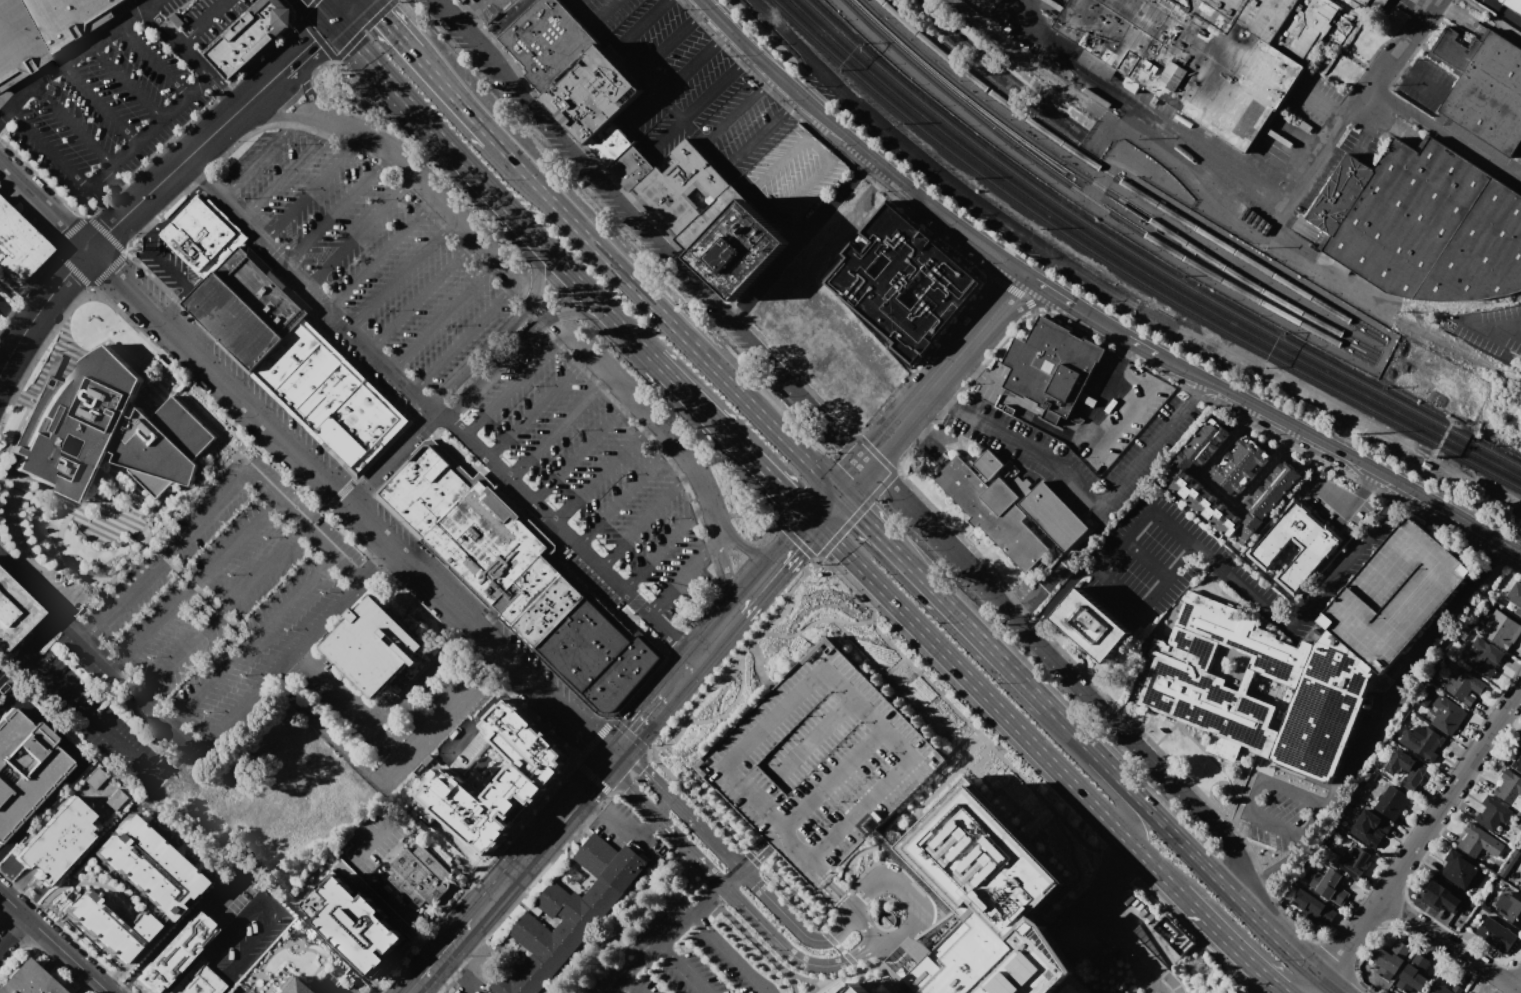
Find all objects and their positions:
building: (462, 0)
building: (1363, 2)
road: (1431, 2)
road: (153, 3)
building: (1513, 4)
road: (474, 5)
road: (325, 10)
road: (346, 11)
road: (699, 12)
road: (461, 17)
road: (507, 17)
traffic signals: (381, 18)
road: (595, 19)
road: (640, 21)
road: (203, 22)
road: (388, 26)
building: (44, 30)
road: (721, 34)
building: (248, 36)
road: (483, 41)
building: (546, 41)
traffic signals: (313, 42)
road: (666, 43)
road: (306, 48)
road: (1401, 49)
building: (1203, 53)
road: (75, 54)
road: (190, 56)
road: (744, 58)
road: (155, 59)
road: (1064, 59)
road: (335, 61)
road: (1401, 62)
road: (688, 66)
road: (639, 68)
road: (1426, 79)
road: (767, 80)
road: (126, 81)
building: (1484, 87)
road: (710, 90)
road: (259, 91)
building: (589, 92)
road: (307, 93)
road: (453, 97)
road: (1320, 101)
road: (98, 102)
road: (791, 102)
parking lot: (711, 105)
road: (1402, 105)
road: (644, 106)
road: (1124, 106)
road: (3, 111)
road: (1363, 111)
road: (1351, 112)
road: (280, 116)
road: (71, 122)
road: (1110, 123)
road: (666, 131)
road: (1368, 136)
building: (608, 142)
road: (818, 147)
road: (856, 147)
road: (717, 151)
road: (1474, 152)
road: (260, 155)
road: (922, 160)
road: (777, 161)
building: (630, 166)
road: (106, 168)
road: (289, 169)
road: (1205, 171)
road: (739, 175)
road: (478, 176)
road: (1249, 178)
railway: (1123, 183)
road: (846, 184)
road: (315, 186)
road: (803, 186)
building: (680, 187)
road: (611, 190)
railway: (1107, 192)
road: (441, 200)
road: (762, 200)
railway: (1095, 201)
road: (44, 204)
road: (178, 206)
road: (338, 208)
road: (146, 216)
building: (1423, 224)
road: (787, 225)
road: (109, 229)
road: (360, 230)
road: (608, 237)
building: (17, 246)
parking lot: (370, 249)
building: (739, 249)
road: (382, 252)
railway: (1146, 260)
road: (778, 264)
road: (164, 266)
railway: (1136, 267)
road: (1328, 269)
road: (403, 272)
railway: (1127, 274)
building: (903, 283)
road: (1049, 291)
road: (423, 293)
road: (2, 305)
road: (174, 307)
road: (1022, 309)
road: (443, 314)
road: (15, 316)
road: (665, 319)
road: (1499, 324)
road: (502, 332)
road: (465, 336)
road: (1125, 336)
building: (281, 341)
road: (521, 341)
road: (638, 341)
road: (1128, 345)
road: (969, 362)
road: (240, 366)
building: (1051, 367)
road: (1163, 367)
road: (945, 368)
road: (1192, 374)
road: (513, 385)
road: (1200, 386)
road: (410, 390)
road: (939, 395)
road: (536, 407)
road: (1025, 408)
road: (650, 415)
road: (1276, 419)
road: (828, 422)
road: (558, 429)
building: (110, 432)
road: (732, 438)
road: (1088, 442)
traffic signals: (878, 448)
road: (579, 451)
road: (391, 458)
building: (989, 465)
building: (1239, 466)
building: (1007, 472)
road: (601, 473)
parking lot: (592, 474)
road: (852, 477)
road: (356, 479)
road: (1368, 480)
road: (327, 482)
road: (366, 486)
road: (1085, 491)
road: (372, 493)
road: (340, 494)
road: (624, 495)
building: (1194, 495)
road: (1220, 495)
road: (1397, 495)
traffic signals: (791, 497)
road: (865, 506)
road: (1434, 506)
road: (827, 507)
road: (1341, 507)
building: (994, 511)
road: (289, 513)
traffic signals: (860, 515)
building: (1054, 517)
road: (644, 518)
road: (863, 518)
road: (335, 521)
road: (803, 533)
traffic signals: (796, 543)
road: (663, 545)
building: (1316, 545)
road: (755, 550)
road: (378, 559)
road: (1145, 560)
road: (1068, 563)
road: (344, 571)
road: (682, 575)
building: (517, 578)
road: (764, 578)
road: (727, 580)
road: (24, 581)
road: (194, 584)
road: (1117, 588)
road: (1063, 589)
parking lot: (224, 592)
parking lot: (1395, 598)
building: (1515, 598)
road: (484, 604)
road: (220, 610)
building: (13, 612)
road: (1280, 619)
road: (811, 623)
road: (968, 625)
road: (1032, 626)
building: (1091, 628)
building: (1500, 629)
road: (879, 633)
road: (713, 637)
road: (666, 640)
road: (1036, 643)
road: (860, 647)
building: (370, 648)
building: (1482, 657)
road: (1402, 662)
road: (279, 665)
road: (1409, 668)
road: (682, 673)
building: (1181, 677)
road: (936, 680)
road: (972, 681)
road: (410, 686)
building: (1464, 686)
road: (668, 689)
road: (918, 702)
road: (732, 704)
parking lot: (99, 705)
road: (869, 713)
building: (1323, 713)
building: (1447, 714)
road: (775, 717)
road: (603, 718)
road: (636, 725)
traffic signals: (632, 730)
road: (589, 736)
traffic signals: (590, 737)
road: (387, 738)
road: (815, 738)
road: (968, 738)
building: (1423, 742)
road: (344, 747)
building: (1520, 749)
road: (957, 752)
road: (572, 754)
road: (576, 758)
road: (574, 760)
road: (981, 761)
building: (820, 763)
parking lot: (820, 763)
road: (946, 763)
building: (1516, 763)
road: (572, 765)
building: (24, 766)
road: (76, 768)
traffic signals: (642, 768)
building: (1407, 769)
road: (160, 773)
traffic signals: (591, 778)
road: (834, 779)
road: (427, 781)
road: (1036, 782)
road: (1103, 786)
road: (1253, 787)
building: (1510, 789)
building: (495, 791)
road: (934, 792)
building: (1391, 802)
road: (679, 807)
road: (565, 808)
road: (1146, 808)
road: (859, 810)
road: (768, 812)
building: (1492, 813)
road: (657, 819)
road: (619, 820)
building: (1369, 828)
road: (1311, 832)
road: (1422, 833)
road: (370, 837)
building: (55, 839)
building: (1479, 841)
road: (750, 854)
road: (753, 859)
road: (757, 860)
building: (1355, 862)
building: (146, 867)
road: (1153, 867)
road: (1077, 868)
building: (1462, 869)
road: (1269, 871)
building: (419, 876)
road: (474, 882)
road: (832, 885)
building: (1330, 885)
road: (715, 886)
building: (1520, 886)
road: (228, 888)
road: (496, 888)
road: (905, 891)
road: (825, 892)
road: (256, 895)
building: (1441, 896)
road: (792, 900)
road: (397, 902)
building: (983, 905)
road: (1261, 905)
building: (1314, 906)
building: (1511, 907)
building: (569, 912)
road: (217, 919)
road: (794, 924)
road: (1115, 924)
building: (109, 928)
road: (676, 929)
road: (867, 929)
road: (12, 931)
road: (65, 932)
building: (1496, 934)
building: (364, 935)
road: (830, 938)
road: (158, 942)
road: (53, 943)
road: (1230, 943)
road: (722, 944)
road: (1284, 945)
road: (1449, 945)
road: (841, 949)
road: (786, 950)
parking lot: (696, 953)
building: (172, 954)
road: (439, 954)
building: (1390, 959)
road: (639, 961)
road: (852, 961)
road: (473, 968)
road: (683, 969)
road: (460, 974)
building: (1414, 975)
building: (196, 979)
building: (28, 980)
road: (762, 983)
road: (1517, 983)
road: (351, 985)
parking lot: (633, 985)
road: (1319, 986)
road: (1332, 986)
road: (324, 987)
road: (618, 987)
road: (629, 987)
building: (851, 987)
building: (292, 988)
road: (415, 989)
building: (1444, 989)
road: (237, 990)
building: (1463, 992)

